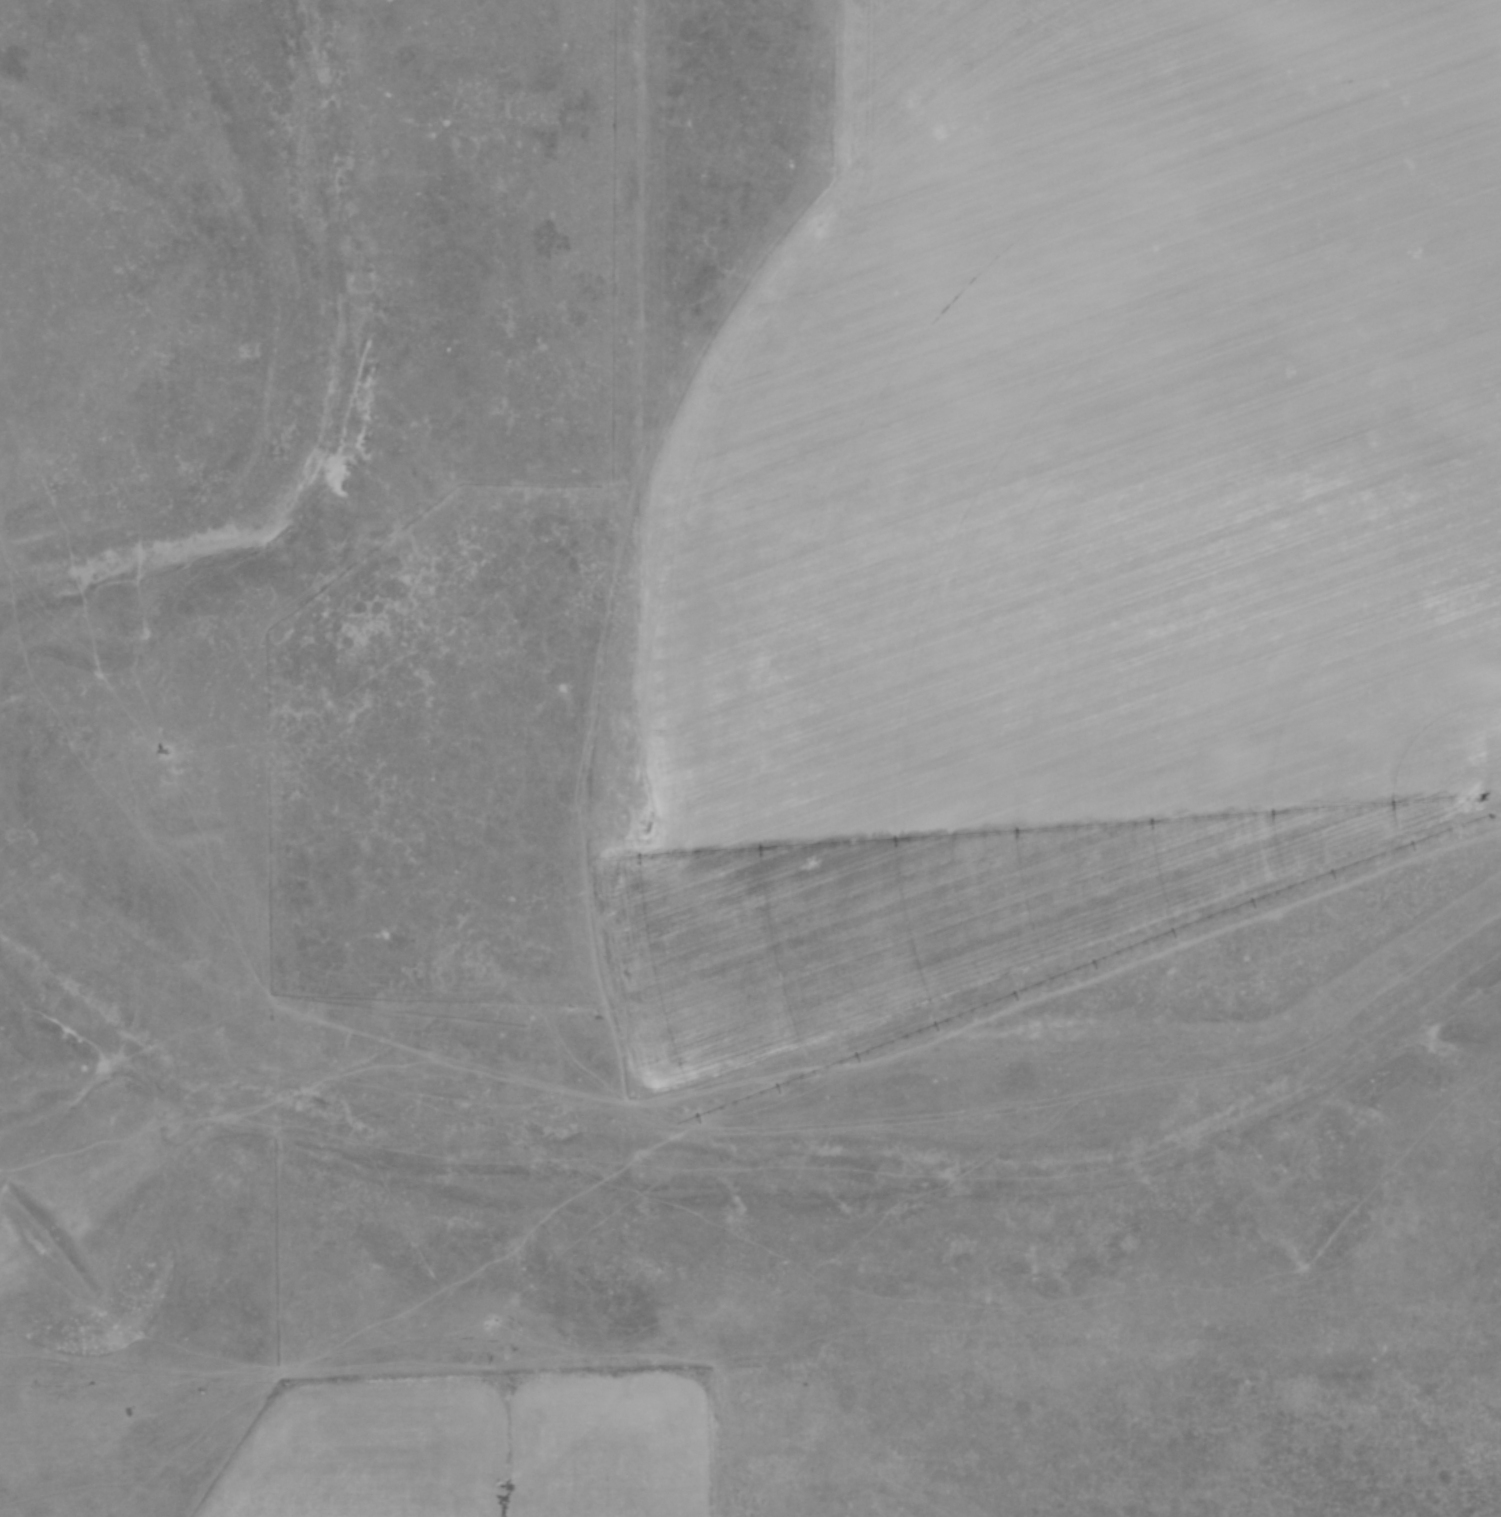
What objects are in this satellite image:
crop: (1078, 517)
crop: (482, 1452)

